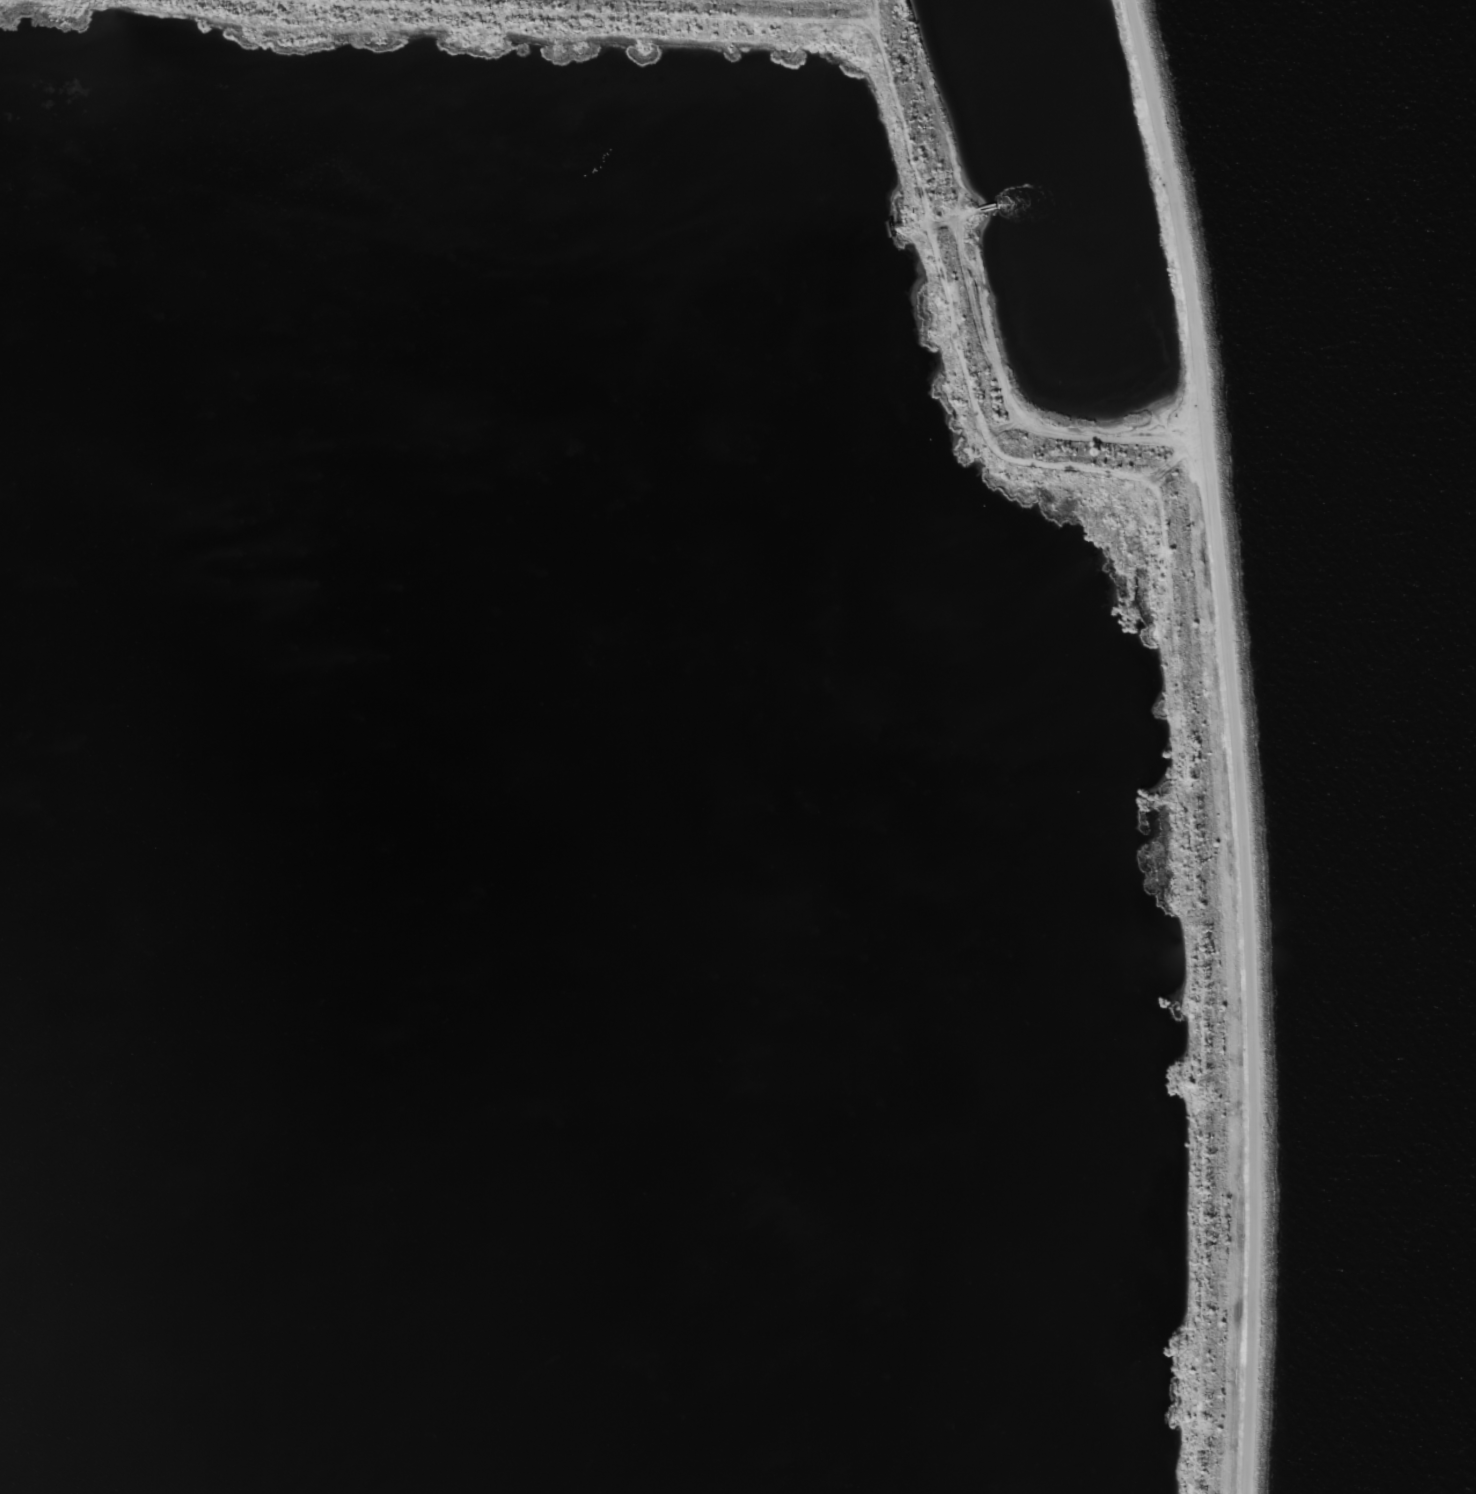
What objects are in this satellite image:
road: (1233, 743)

